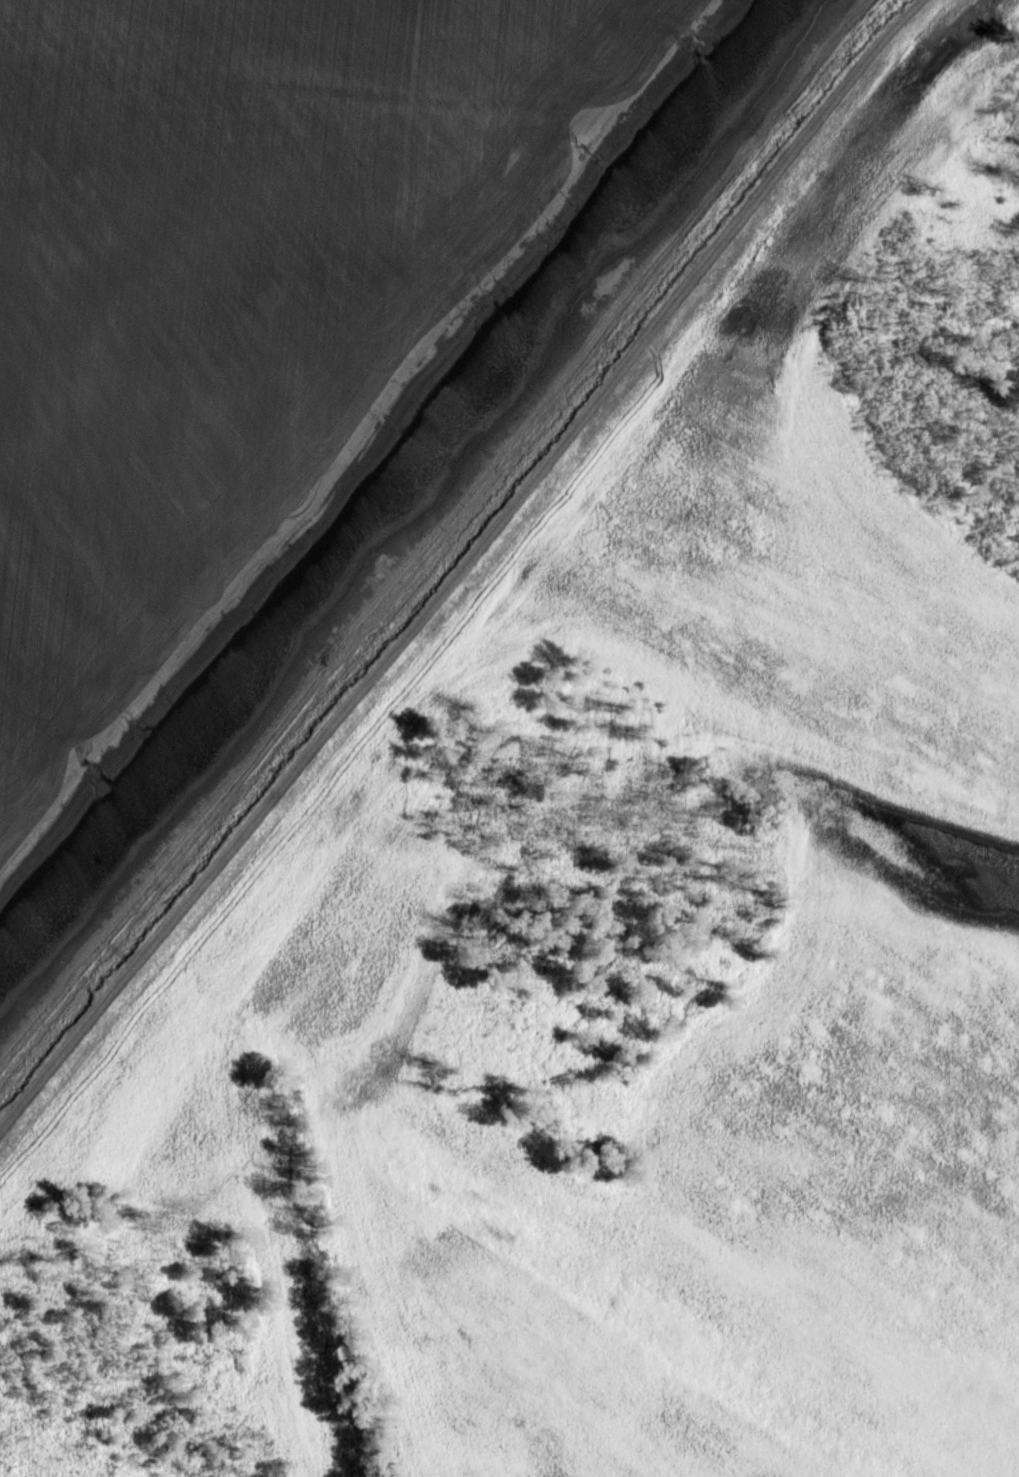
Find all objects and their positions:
road: (394, 104)
road: (461, 566)

